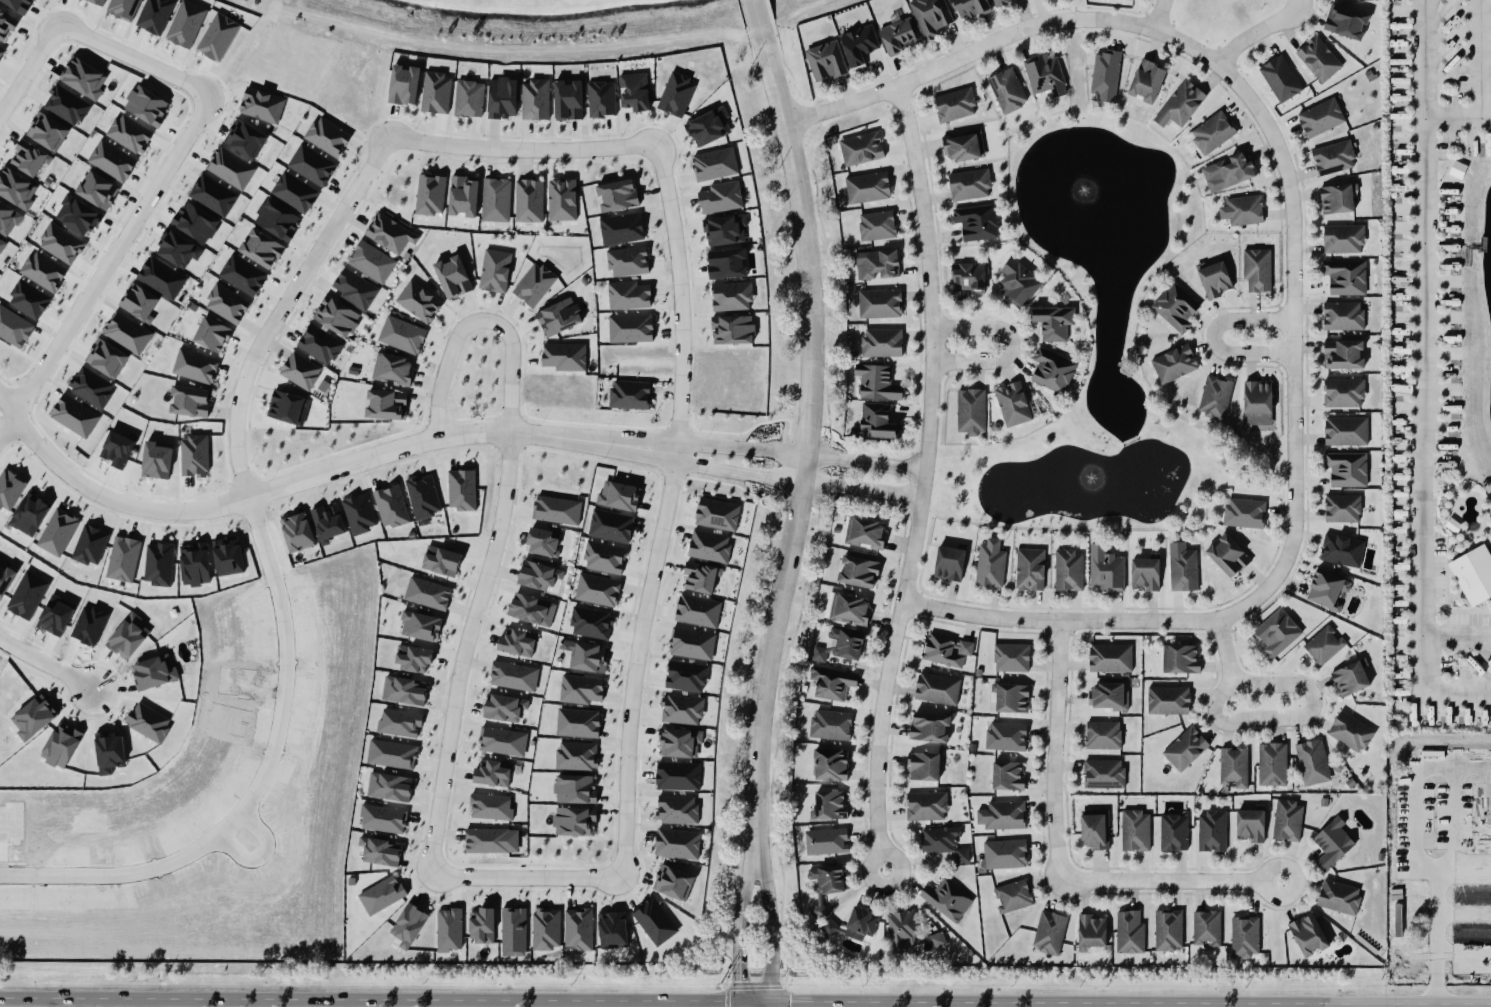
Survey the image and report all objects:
building: (98, 1)
building: (1000, 2)
building: (18, 4)
building: (971, 7)
building: (123, 8)
road: (753, 14)
road: (1157, 14)
building: (155, 15)
building: (930, 16)
building: (1345, 21)
building: (7, 23)
building: (185, 23)
road: (1257, 31)
building: (898, 34)
building: (218, 36)
building: (859, 44)
road: (981, 47)
building: (1, 49)
building: (1322, 57)
road: (1481, 58)
road: (1424, 59)
building: (825, 60)
building: (1045, 75)
building: (1105, 75)
building: (83, 78)
building: (1280, 78)
building: (1146, 80)
building: (403, 85)
building: (1007, 90)
building: (436, 92)
building: (634, 92)
building: (676, 94)
building: (468, 98)
building: (502, 98)
building: (534, 99)
building: (601, 99)
building: (567, 100)
building: (954, 104)
building: (67, 105)
building: (261, 105)
building: (1181, 105)
building: (146, 106)
building: (1321, 117)
road: (1457, 117)
building: (708, 126)
building: (47, 131)
building: (130, 133)
building: (1210, 134)
building: (327, 136)
building: (245, 138)
building: (964, 146)
road: (176, 147)
building: (861, 148)
building: (1333, 157)
building: (29, 158)
building: (112, 160)
building: (312, 164)
building: (714, 164)
building: (230, 168)
building: (1228, 172)
fountain: (1087, 177)
fountain: (1087, 178)
building: (969, 184)
building: (867, 187)
building: (16, 188)
building: (98, 190)
building: (295, 192)
building: (430, 194)
building: (617, 194)
building: (213, 195)
building: (463, 195)
building: (721, 197)
building: (1336, 198)
building: (496, 199)
building: (529, 200)
building: (562, 200)
road: (345, 207)
building: (1242, 210)
building: (78, 215)
building: (8, 219)
building: (277, 219)
building: (195, 222)
building: (977, 222)
building: (877, 225)
building: (621, 228)
building: (725, 229)
building: (389, 233)
building: (1343, 238)
building: (61, 243)
building: (2, 245)
building: (261, 248)
building: (178, 249)
building: (371, 261)
building: (628, 261)
building: (726, 263)
building: (877, 263)
building: (1257, 269)
building: (495, 270)
building: (43, 271)
building: (243, 275)
building: (453, 276)
building: (1345, 276)
building: (161, 277)
building: (968, 277)
building: (1215, 279)
building: (1018, 282)
building: (534, 284)
building: (355, 289)
building: (628, 295)
building: (731, 296)
building: (28, 300)
building: (419, 301)
building: (139, 302)
building: (226, 303)
building: (880, 303)
building: (1175, 307)
building: (1343, 315)
building: (336, 316)
building: (559, 316)
road: (480, 320)
building: (1054, 322)
building: (14, 327)
building: (630, 328)
building: (732, 329)
building: (127, 332)
building: (211, 334)
building: (402, 335)
road: (1210, 338)
park: (1100, 341)
building: (882, 342)
building: (320, 344)
road: (1005, 345)
building: (1343, 354)
building: (564, 356)
building: (107, 358)
building: (1174, 363)
building: (195, 366)
building: (393, 369)
building: (300, 370)
building: (1052, 370)
road: (944, 373)
building: (877, 382)
building: (91, 386)
building: (1343, 392)
building: (630, 394)
building: (1215, 396)
road: (1280, 399)
building: (190, 400)
building: (1257, 402)
building: (1012, 403)
building: (386, 404)
building: (288, 407)
building: (971, 411)
road: (940, 412)
building: (74, 415)
building: (876, 422)
building: (1346, 431)
road: (806, 432)
road: (1422, 438)
road: (1126, 440)
road: (1087, 441)
road: (682, 444)
building: (118, 448)
road: (1000, 448)
road: (1205, 450)
road: (387, 451)
building: (194, 455)
building: (156, 459)
road: (679, 463)
road: (864, 465)
building: (1346, 468)
fountain: (1086, 474)
fountain: (1086, 475)
road: (1280, 479)
road: (922, 481)
road: (1292, 488)
building: (9, 489)
building: (461, 489)
road: (860, 491)
building: (423, 496)
building: (619, 496)
road: (93, 497)
building: (391, 506)
road: (665, 508)
building: (1342, 508)
building: (557, 509)
building: (1244, 512)
building: (359, 513)
building: (717, 514)
road: (928, 521)
building: (328, 523)
building: (610, 525)
building: (58, 532)
building: (297, 532)
building: (866, 532)
building: (543, 542)
building: (90, 545)
building: (709, 546)
building: (1342, 550)
building: (1228, 555)
building: (228, 556)
building: (604, 557)
building: (123, 558)
building: (441, 561)
building: (949, 562)
building: (990, 563)
building: (158, 564)
building: (194, 564)
building: (1030, 569)
building: (1106, 569)
building: (1068, 570)
building: (1183, 570)
building: (858, 571)
building: (1145, 573)
building: (1473, 574)
building: (538, 575)
building: (700, 577)
building: (5, 578)
building: (597, 589)
building: (1328, 589)
road: (919, 591)
building: (427, 593)
building: (27, 594)
building: (852, 608)
building: (532, 609)
building: (698, 610)
building: (591, 622)
building: (422, 625)
building: (1277, 632)
road: (1456, 632)
building: (129, 635)
building: (517, 642)
building: (691, 643)
building: (1324, 645)
building: (840, 646)
building: (946, 649)
building: (414, 657)
building: (589, 657)
building: (1011, 657)
building: (1110, 657)
building: (1183, 659)
road: (40, 674)
building: (513, 676)
building: (686, 676)
building: (1350, 678)
building: (832, 682)
building: (937, 688)
building: (581, 689)
building: (404, 690)
building: (1109, 696)
building: (1012, 698)
building: (1168, 700)
building: (504, 707)
building: (682, 709)
road: (1260, 719)
building: (399, 722)
building: (578, 722)
building: (831, 724)
building: (929, 726)
building: (1351, 732)
building: (1103, 735)
building: (1006, 736)
building: (502, 741)
building: (680, 742)
road: (449, 746)
building: (1185, 748)
road: (1052, 750)
building: (391, 754)
building: (576, 755)
building: (1312, 762)
building: (830, 764)
building: (1272, 764)
building: (924, 766)
building: (1234, 766)
building: (492, 773)
building: (1103, 773)
building: (678, 775)
building: (1007, 775)
building: (389, 786)
building: (575, 788)
building: (830, 804)
building: (926, 805)
building: (491, 806)
building: (676, 809)
building: (1002, 815)
building: (383, 818)
road: (1454, 819)
building: (1287, 820)
building: (575, 821)
building: (1250, 825)
building: (1094, 829)
building: (1135, 830)
building: (1212, 831)
building: (1173, 832)
building: (491, 840)
building: (825, 841)
building: (943, 842)
building: (677, 843)
building: (1332, 843)
building: (380, 851)
building: (1005, 854)
road: (1413, 858)
road: (1463, 869)
building: (830, 879)
road: (1166, 880)
building: (674, 882)
building: (381, 894)
building: (1013, 896)
building: (1339, 897)
building: (947, 899)
building: (819, 910)
road: (1463, 912)
road: (738, 919)
road: (769, 919)
building: (654, 921)
building: (861, 922)
building: (409, 925)
building: (483, 925)
building: (546, 928)
building: (829, 928)
building: (1206, 928)
building: (448, 929)
building: (513, 929)
building: (578, 929)
building: (1168, 929)
building: (612, 930)
building: (1049, 932)
building: (1129, 932)
building: (907, 933)
building: (1092, 933)
building: (1308, 934)
building: (1246, 936)
road: (1463, 952)
traffic signals: (739, 980)
road: (369, 998)
road: (65, 1001)
road: (754, 1001)
traffic signals: (789, 1001)
road: (1069, 1002)
road: (739, 1004)
road: (768, 1004)
road: (1420, 1004)
road: (1481, 1004)
road: (1369, 1005)
road: (1370, 1005)

